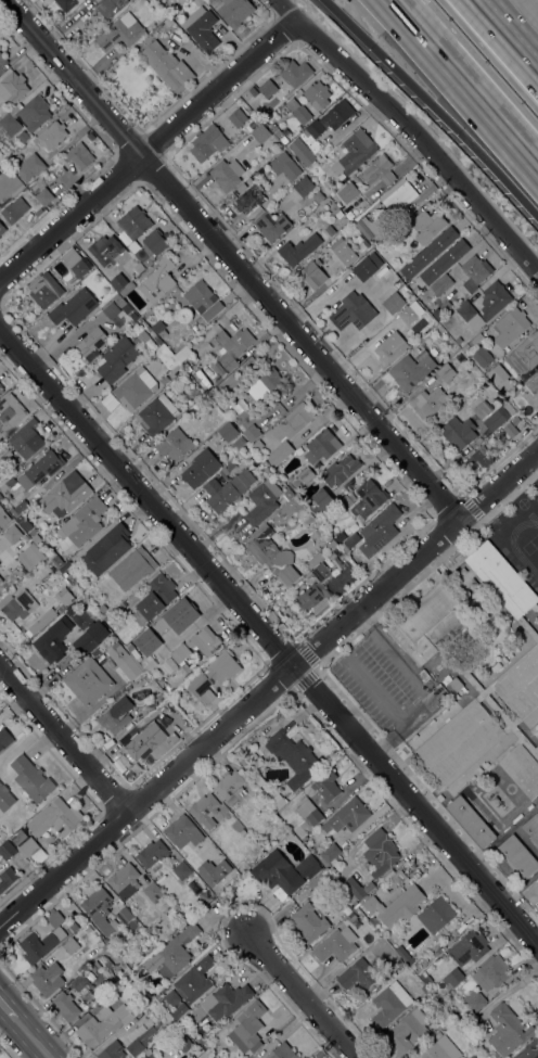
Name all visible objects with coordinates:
building: (197, 2)
building: (66, 4)
building: (110, 7)
building: (234, 11)
building: (202, 28)
building: (120, 33)
road: (508, 34)
building: (2, 62)
building: (167, 66)
building: (295, 73)
road: (463, 85)
building: (13, 87)
building: (267, 88)
building: (253, 91)
building: (318, 95)
road: (430, 103)
building: (298, 112)
building: (338, 114)
building: (25, 116)
building: (238, 117)
building: (315, 128)
building: (51, 135)
building: (261, 135)
building: (24, 138)
building: (283, 140)
road: (407, 141)
building: (208, 143)
road: (148, 151)
building: (302, 152)
building: (354, 152)
building: (79, 155)
building: (3, 156)
building: (284, 166)
building: (30, 167)
building: (57, 169)
building: (379, 173)
building: (226, 174)
building: (304, 186)
building: (241, 188)
building: (346, 193)
building: (398, 195)
building: (43, 196)
building: (318, 196)
building: (248, 199)
building: (359, 207)
building: (14, 209)
building: (338, 215)
building: (133, 222)
building: (271, 225)
building: (427, 226)
building: (368, 227)
building: (2, 229)
building: (330, 230)
building: (154, 241)
building: (106, 250)
building: (298, 250)
building: (343, 252)
building: (428, 252)
building: (141, 253)
road: (229, 260)
building: (444, 260)
building: (74, 263)
building: (139, 268)
building: (363, 268)
building: (474, 269)
building: (312, 275)
building: (383, 275)
building: (393, 279)
building: (158, 280)
building: (118, 281)
building: (440, 284)
building: (127, 289)
building: (43, 290)
building: (415, 290)
building: (426, 296)
building: (494, 298)
building: (203, 301)
building: (394, 303)
building: (121, 304)
building: (74, 307)
building: (446, 307)
building: (354, 310)
building: (409, 313)
building: (470, 315)
building: (108, 323)
building: (510, 327)
building: (158, 328)
building: (153, 334)
building: (141, 337)
building: (458, 340)
building: (476, 340)
building: (89, 343)
building: (465, 347)
building: (230, 349)
building: (388, 349)
building: (414, 349)
building: (433, 352)
building: (182, 354)
building: (524, 355)
building: (482, 356)
building: (460, 358)
building: (116, 359)
building: (408, 371)
building: (446, 372)
building: (498, 374)
building: (205, 377)
building: (164, 380)
building: (264, 383)
building: (533, 383)
building: (0, 385)
building: (505, 387)
building: (136, 388)
building: (1, 390)
building: (194, 392)
building: (427, 403)
building: (482, 409)
building: (10, 412)
building: (158, 413)
building: (495, 419)
building: (293, 421)
building: (510, 430)
building: (228, 432)
building: (459, 432)
building: (252, 433)
building: (26, 438)
building: (239, 443)
building: (174, 444)
building: (257, 445)
building: (321, 446)
building: (280, 454)
building: (4, 455)
building: (9, 461)
building: (478, 461)
building: (231, 466)
building: (200, 468)
building: (40, 469)
building: (340, 470)
building: (300, 479)
building: (3, 486)
building: (227, 489)
building: (65, 495)
building: (0, 496)
building: (368, 498)
building: (262, 500)
building: (321, 501)
building: (17, 508)
building: (328, 515)
building: (3, 518)
building: (84, 521)
building: (24, 522)
building: (383, 526)
building: (12, 534)
building: (340, 537)
building: (34, 539)
building: (349, 541)
building: (331, 545)
building: (106, 549)
building: (272, 556)
building: (29, 557)
building: (342, 557)
building: (315, 560)
building: (60, 565)
building: (132, 568)
building: (501, 578)
building: (0, 579)
building: (316, 588)
building: (65, 595)
building: (156, 596)
building: (16, 603)
building: (102, 608)
building: (176, 616)
building: (139, 617)
building: (432, 617)
building: (42, 621)
building: (53, 625)
building: (527, 628)
building: (203, 639)
road: (269, 641)
building: (86, 642)
building: (49, 647)
building: (131, 647)
building: (180, 653)
building: (124, 661)
building: (188, 671)
building: (424, 675)
building: (212, 676)
building: (161, 680)
building: (88, 681)
building: (520, 684)
building: (453, 685)
road: (420, 686)
road: (269, 689)
road: (376, 690)
building: (175, 697)
building: (167, 702)
building: (494, 710)
building: (116, 715)
building: (4, 738)
building: (143, 741)
road: (63, 742)
building: (459, 742)
building: (536, 749)
building: (294, 757)
building: (522, 770)
building: (31, 778)
building: (258, 778)
building: (231, 786)
building: (326, 786)
building: (287, 793)
building: (4, 798)
building: (278, 800)
building: (204, 807)
building: (309, 812)
building: (273, 817)
building: (346, 817)
building: (55, 818)
building: (471, 820)
building: (206, 821)
building: (531, 828)
building: (182, 831)
building: (18, 837)
building: (28, 847)
building: (7, 850)
building: (330, 852)
building: (380, 852)
building: (152, 854)
building: (518, 857)
building: (313, 869)
building: (181, 870)
building: (213, 871)
building: (276, 875)
building: (398, 877)
building: (7, 878)
building: (320, 880)
building: (124, 881)
building: (537, 887)
building: (358, 888)
building: (152, 891)
building: (395, 907)
building: (99, 910)
building: (170, 913)
building: (436, 915)
building: (349, 919)
building: (128, 920)
building: (308, 922)
building: (72, 928)
building: (88, 930)
building: (43, 940)
building: (100, 943)
building: (71, 945)
building: (336, 945)
building: (469, 947)
building: (175, 953)
building: (403, 955)
building: (140, 971)
building: (491, 972)
building: (124, 973)
building: (358, 974)
building: (453, 977)
building: (47, 979)
building: (195, 979)
building: (80, 982)
building: (424, 989)
building: (158, 996)
road: (299, 996)
building: (171, 997)
building: (226, 999)
building: (473, 1002)
building: (389, 1004)
building: (65, 1006)
building: (180, 1009)
road: (4, 1016)
building: (101, 1024)
building: (248, 1027)
building: (508, 1030)
building: (408, 1031)
road: (25, 1040)
building: (142, 1041)
building: (183, 1042)
building: (441, 1049)
building: (112, 1050)
building: (529, 1050)
building: (281, 1051)
building: (148, 1056)

